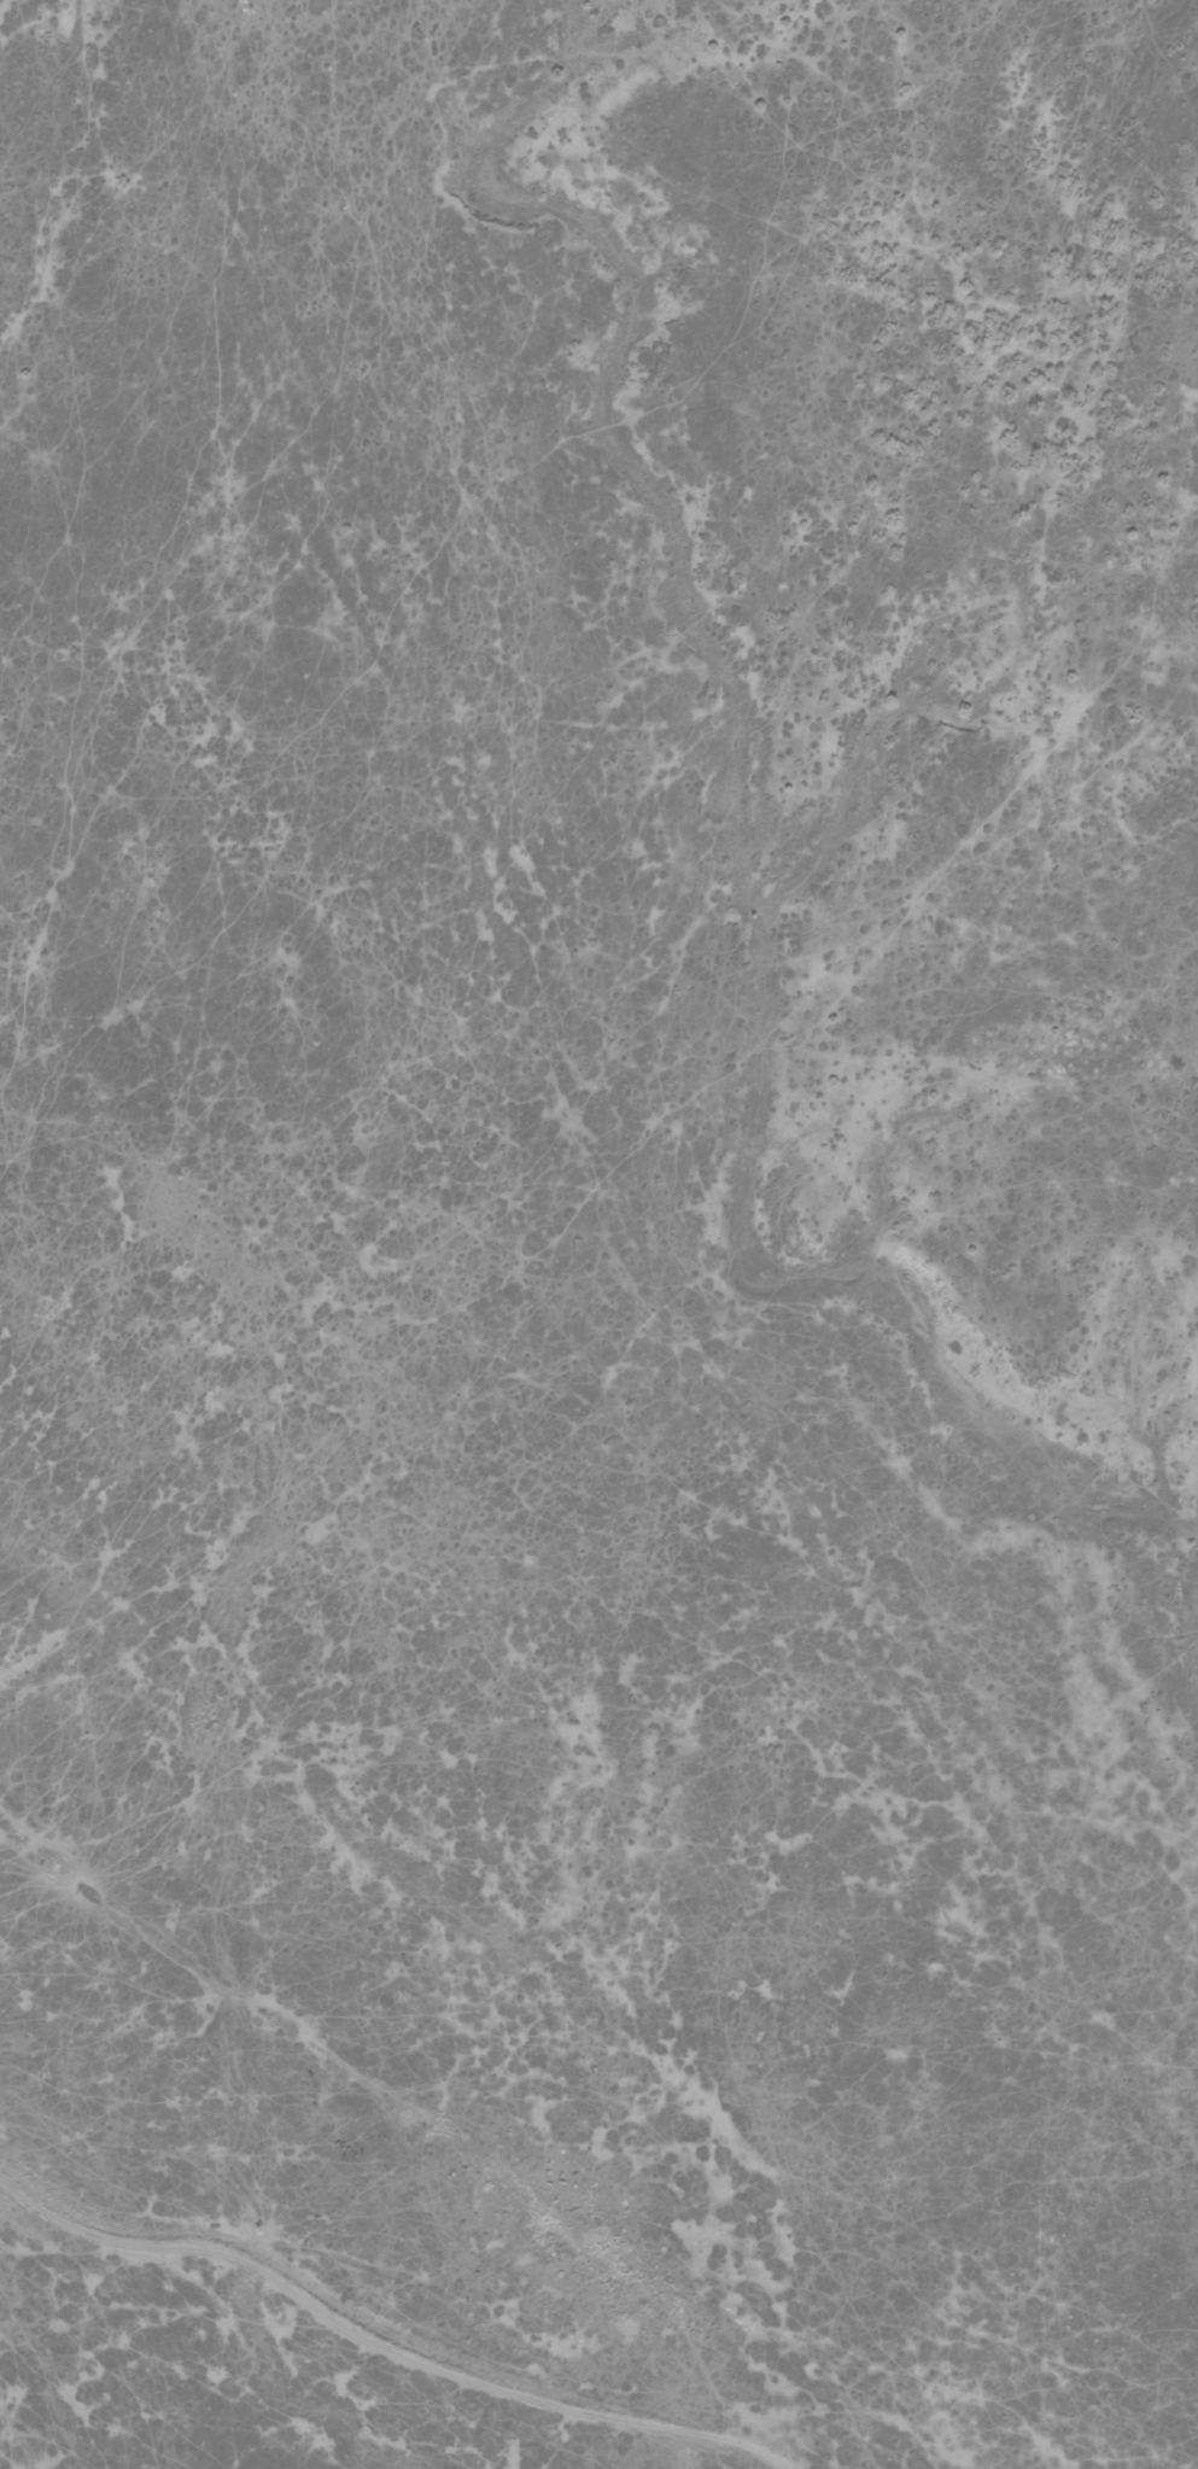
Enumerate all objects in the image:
road: (380, 2311)

